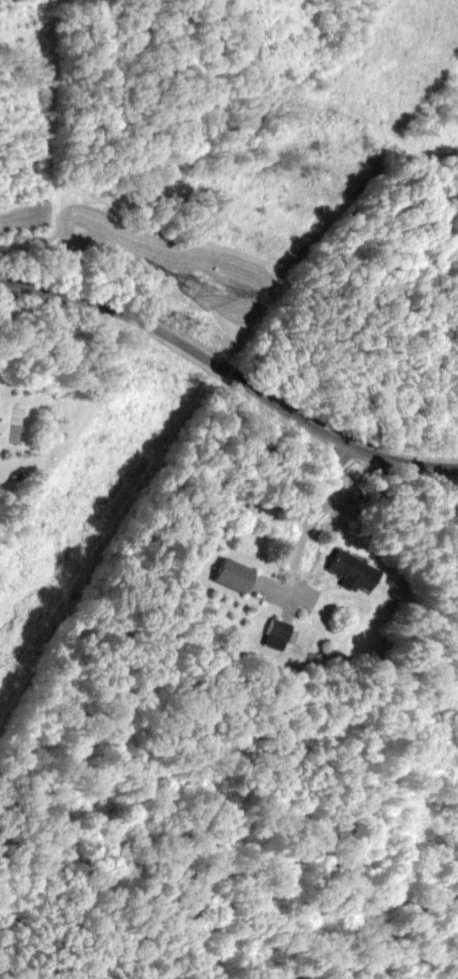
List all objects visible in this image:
power tower: (187, 294)
road: (231, 370)
road: (314, 520)
building: (349, 570)
building: (230, 574)
building: (279, 629)

